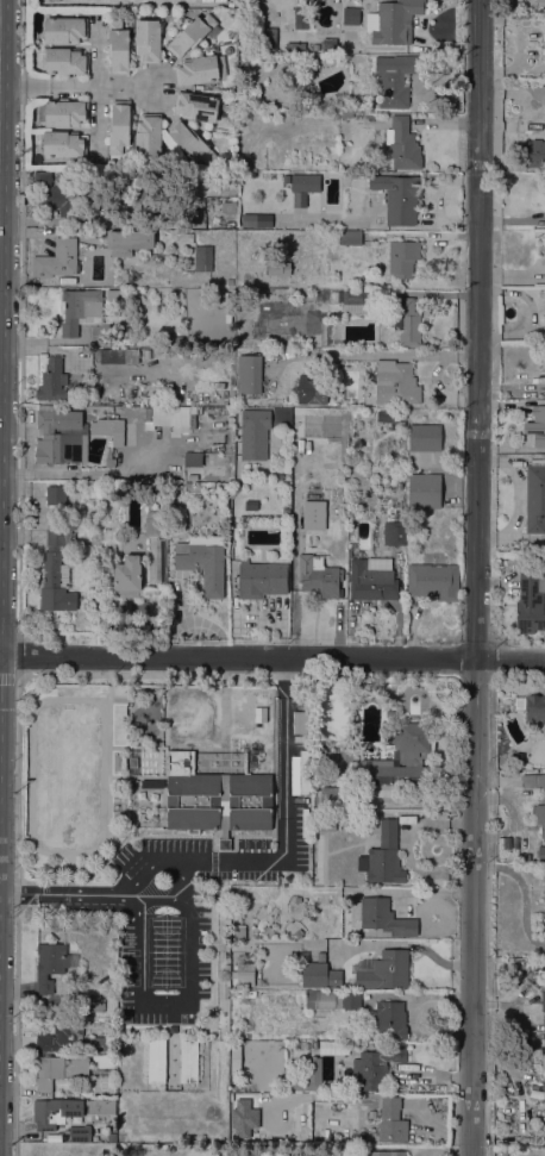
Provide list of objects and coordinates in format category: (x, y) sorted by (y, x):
building: (539, 0)
building: (234, 1)
building: (336, 1)
building: (308, 2)
building: (394, 21)
building: (64, 30)
building: (190, 35)
building: (267, 38)
building: (146, 40)
building: (328, 44)
building: (294, 45)
building: (118, 48)
building: (319, 57)
building: (65, 61)
building: (200, 69)
building: (394, 80)
road: (83, 85)
building: (196, 106)
building: (63, 113)
building: (345, 114)
building: (119, 126)
building: (149, 135)
building: (189, 142)
building: (63, 144)
building: (402, 144)
building: (533, 152)
building: (302, 182)
building: (55, 194)
building: (136, 194)
building: (399, 198)
building: (228, 207)
building: (255, 220)
building: (347, 238)
building: (129, 242)
building: (202, 258)
building: (403, 258)
building: (57, 260)
building: (277, 268)
building: (230, 282)
building: (114, 294)
building: (352, 296)
building: (80, 310)
building: (407, 321)
building: (117, 356)
road: (375, 356)
building: (248, 374)
building: (52, 380)
building: (395, 383)
building: (315, 392)
road: (440, 392)
building: (173, 415)
building: (537, 426)
building: (109, 430)
building: (253, 435)
building: (61, 438)
building: (424, 438)
building: (109, 460)
building: (192, 460)
road: (95, 474)
building: (397, 475)
building: (278, 476)
building: (192, 477)
building: (224, 487)
building: (425, 490)
building: (56, 495)
building: (535, 496)
building: (250, 506)
building: (286, 512)
building: (93, 515)
building: (307, 520)
building: (151, 525)
building: (394, 533)
building: (158, 560)
building: (202, 562)
building: (55, 573)
building: (126, 577)
building: (319, 577)
road: (476, 577)
building: (261, 579)
building: (371, 579)
building: (433, 581)
building: (530, 604)
road: (271, 657)
building: (534, 710)
building: (257, 714)
building: (391, 716)
building: (301, 723)
building: (401, 757)
building: (132, 762)
building: (344, 766)
building: (300, 773)
building: (533, 781)
building: (330, 796)
building: (215, 799)
building: (407, 817)
building: (540, 819)
building: (541, 854)
building: (383, 856)
building: (524, 856)
road: (237, 863)
road: (524, 892)
building: (300, 904)
building: (544, 906)
building: (384, 918)
building: (243, 931)
building: (286, 932)
building: (50, 964)
building: (382, 970)
building: (243, 974)
building: (320, 974)
building: (330, 999)
building: (96, 1002)
road: (494, 1002)
building: (543, 1013)
building: (127, 1018)
building: (388, 1020)
building: (62, 1037)
building: (96, 1044)
building: (314, 1045)
building: (332, 1046)
building: (234, 1060)
building: (156, 1061)
building: (188, 1061)
building: (376, 1064)
building: (58, 1070)
building: (308, 1076)
building: (101, 1107)
building: (56, 1112)
building: (243, 1118)
building: (391, 1121)
building: (80, 1133)
building: (111, 1137)
building: (384, 1154)

